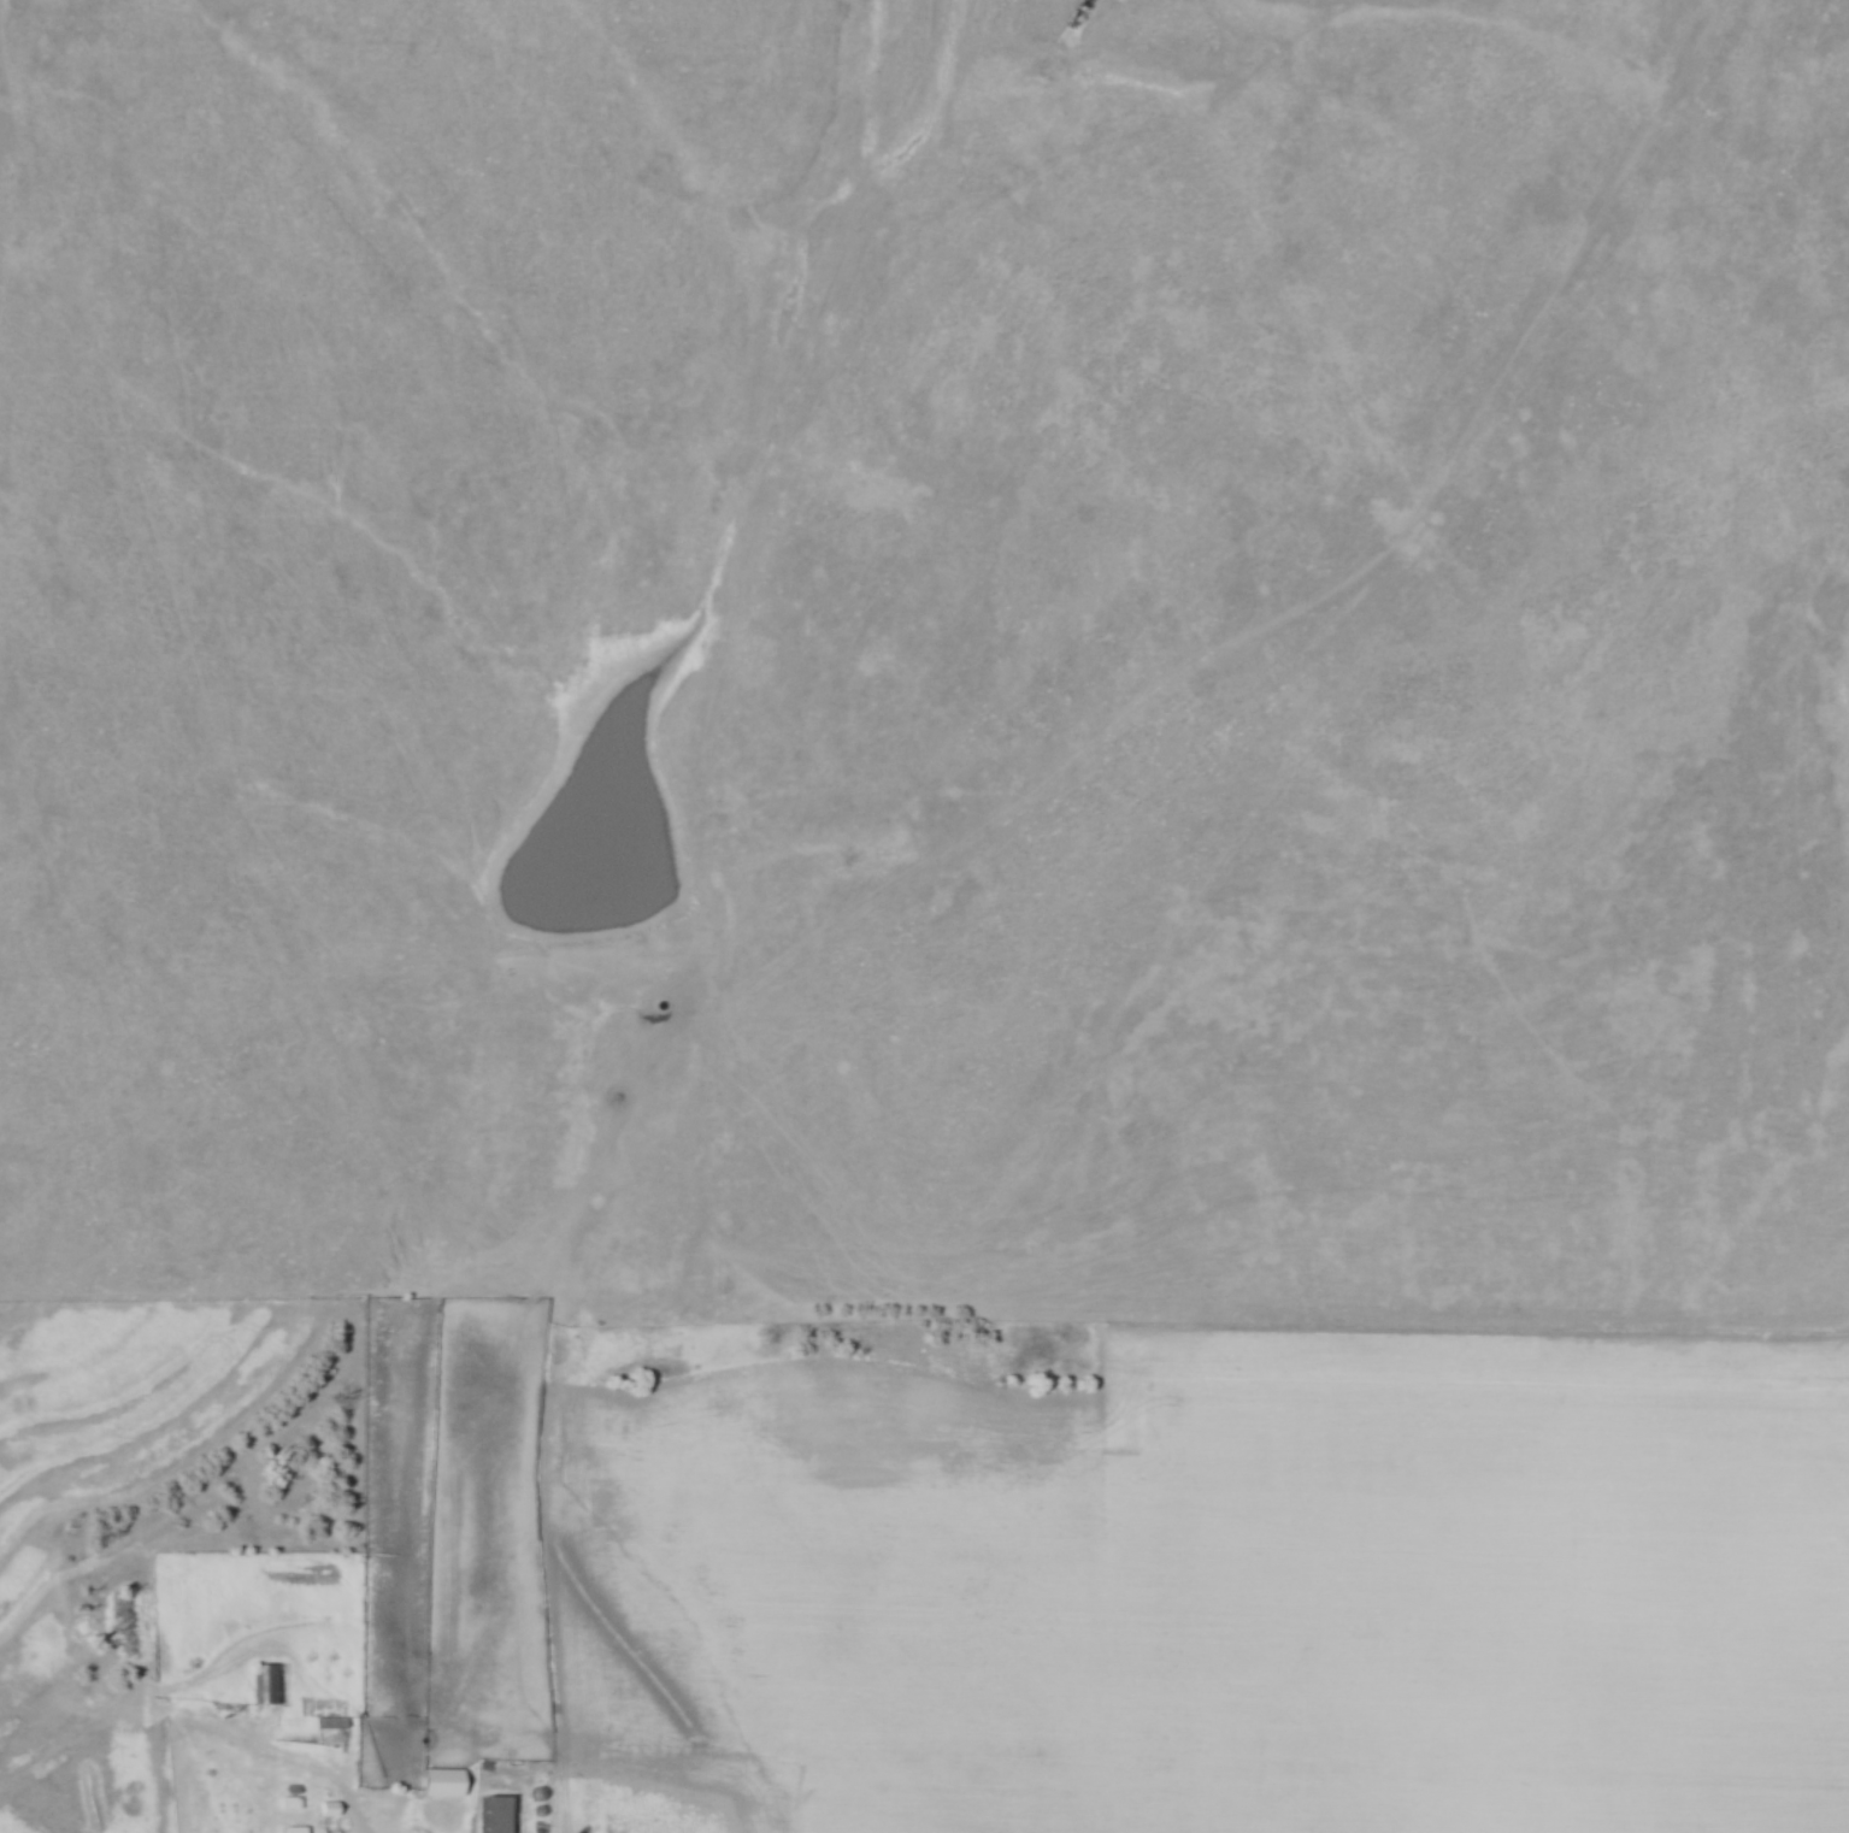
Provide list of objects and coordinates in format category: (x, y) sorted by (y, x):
crop: (1223, 1589)
building: (266, 1685)
building: (446, 1784)
building: (497, 1815)
building: (295, 1829)

